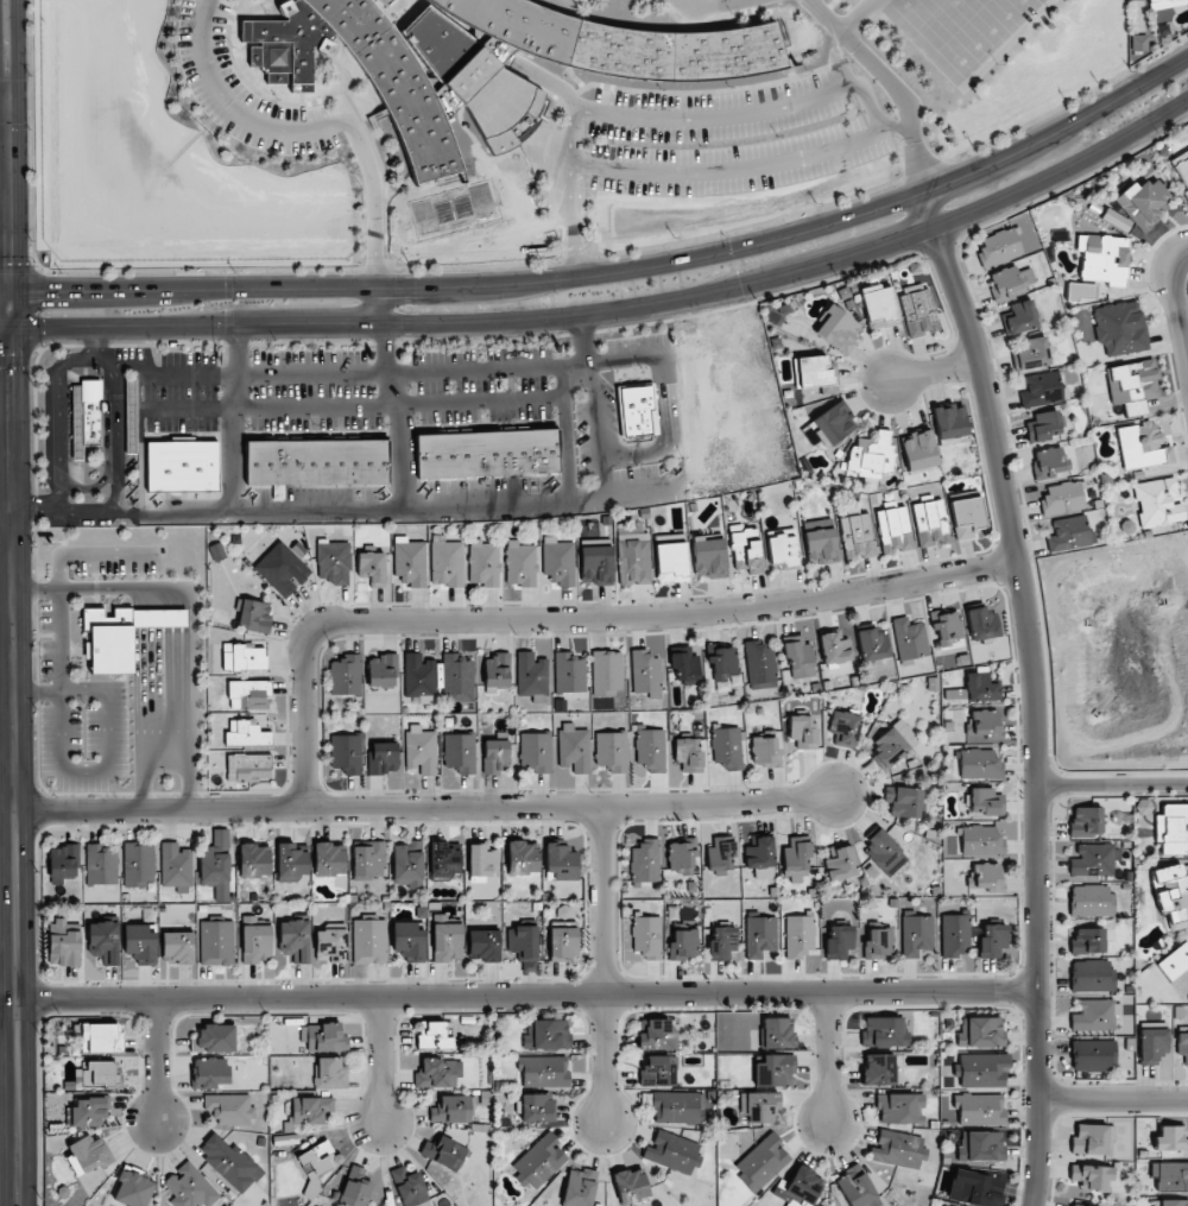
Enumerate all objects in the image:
building: (1151, 0)
building: (1170, 0)
building: (388, 2)
road: (712, 5)
parking lot: (811, 5)
parking lot: (712, 6)
road: (858, 15)
road: (927, 15)
park: (961, 24)
parking lot: (963, 30)
building: (1162, 30)
road: (973, 31)
building: (1137, 42)
road: (835, 58)
building: (491, 64)
road: (887, 81)
road: (965, 84)
parking lot: (244, 90)
road: (4, 99)
road: (1069, 101)
road: (234, 108)
road: (742, 111)
road: (899, 127)
parking lot: (735, 134)
road: (8, 144)
road: (573, 156)
road: (924, 169)
building: (1181, 169)
road: (733, 170)
road: (374, 201)
building: (1144, 202)
building: (1116, 220)
road: (747, 226)
road: (1184, 246)
building: (998, 247)
road: (575, 258)
building: (1102, 259)
road: (24, 264)
road: (474, 265)
road: (375, 266)
road: (620, 267)
road: (67, 270)
building: (1010, 280)
road: (5, 289)
traffic signals: (11, 289)
road: (550, 289)
building: (1080, 291)
road: (407, 295)
road: (39, 297)
road: (378, 304)
building: (878, 307)
road: (1175, 307)
road: (614, 309)
building: (917, 310)
building: (1018, 317)
building: (1119, 327)
traffic signals: (10, 329)
building: (838, 329)
building: (1031, 352)
road: (385, 364)
road: (931, 371)
building: (814, 372)
road: (323, 373)
building: (1133, 385)
building: (1041, 389)
road: (479, 400)
building: (131, 406)
road: (267, 408)
building: (638, 411)
road: (55, 415)
building: (86, 417)
road: (232, 417)
building: (950, 424)
building: (1043, 424)
building: (830, 425)
road: (114, 435)
building: (1142, 447)
building: (918, 450)
building: (487, 454)
building: (872, 455)
road: (399, 456)
building: (316, 462)
building: (1048, 462)
building: (182, 466)
building: (1062, 498)
road: (6, 503)
building: (1158, 503)
road: (384, 509)
building: (966, 517)
building: (930, 523)
building: (893, 530)
building: (1067, 533)
building: (857, 536)
building: (820, 541)
building: (782, 547)
building: (746, 549)
building: (215, 553)
building: (708, 556)
building: (670, 557)
building: (334, 561)
building: (410, 561)
building: (558, 561)
building: (633, 561)
building: (447, 563)
building: (484, 563)
building: (520, 564)
building: (596, 564)
building: (371, 568)
building: (282, 569)
building: (254, 615)
road: (574, 621)
building: (981, 624)
building: (946, 627)
road: (7, 631)
building: (121, 634)
building: (909, 638)
building: (873, 644)
building: (834, 648)
building: (242, 657)
building: (798, 657)
building: (684, 664)
building: (722, 664)
building: (759, 665)
building: (383, 671)
building: (645, 671)
building: (495, 673)
building: (568, 673)
building: (607, 673)
building: (346, 675)
building: (531, 675)
building: (419, 678)
building: (457, 678)
building: (981, 688)
road: (1029, 690)
building: (248, 694)
building: (984, 726)
building: (843, 728)
building: (803, 731)
building: (246, 734)
road: (14, 746)
building: (727, 747)
building: (574, 749)
building: (889, 749)
building: (421, 750)
building: (612, 750)
building: (650, 751)
building: (764, 751)
building: (460, 752)
building: (536, 752)
building: (347, 753)
building: (689, 753)
building: (494, 754)
building: (383, 758)
building: (979, 764)
building: (248, 766)
road: (1110, 784)
building: (903, 801)
building: (985, 802)
road: (424, 810)
building: (1086, 821)
building: (1173, 828)
building: (981, 840)
building: (884, 851)
building: (681, 854)
building: (721, 855)
building: (760, 857)
building: (523, 858)
building: (329, 859)
building: (368, 859)
building: (481, 859)
building: (1094, 859)
building: (253, 860)
building: (291, 860)
building: (561, 860)
building: (63, 861)
building: (443, 861)
building: (645, 861)
building: (840, 861)
building: (101, 864)
building: (407, 864)
building: (138, 865)
building: (216, 865)
building: (176, 867)
building: (986, 876)
building: (1171, 895)
building: (1091, 901)
building: (759, 935)
building: (916, 935)
building: (954, 935)
building: (646, 936)
building: (800, 936)
building: (257, 939)
building: (447, 939)
building: (295, 940)
building: (409, 940)
building: (992, 940)
building: (103, 941)
building: (368, 941)
building: (523, 941)
building: (1087, 941)
building: (140, 942)
building: (216, 942)
building: (721, 942)
building: (839, 942)
building: (63, 943)
building: (563, 943)
building: (683, 943)
building: (879, 943)
building: (330, 945)
building: (484, 945)
building: (177, 946)
building: (1174, 961)
road: (601, 966)
building: (1092, 975)
road: (518, 995)
building: (884, 1031)
building: (980, 1031)
building: (777, 1033)
building: (435, 1035)
building: (546, 1035)
building: (656, 1035)
building: (101, 1037)
building: (323, 1037)
building: (214, 1038)
building: (1182, 1046)
building: (1093, 1055)
road: (829, 1057)
road: (157, 1059)
road: (381, 1059)
building: (773, 1069)
building: (879, 1069)
building: (982, 1069)
building: (658, 1071)
building: (209, 1072)
building: (543, 1072)
building: (99, 1073)
building: (437, 1073)
building: (329, 1074)
road: (1112, 1099)
building: (760, 1106)
building: (537, 1107)
building: (676, 1107)
building: (899, 1107)
building: (230, 1109)
building: (979, 1109)
building: (310, 1110)
building: (451, 1110)
building: (89, 1111)
building: (1092, 1138)
building: (1171, 1138)
building: (980, 1147)
building: (898, 1149)
building: (444, 1153)
building: (672, 1153)
building: (89, 1154)
building: (228, 1162)
building: (538, 1162)
building: (762, 1162)
building: (316, 1166)
building: (1170, 1175)
building: (1091, 1176)
building: (804, 1185)
building: (631, 1186)
building: (132, 1187)
building: (189, 1187)
building: (355, 1187)
building: (409, 1187)
building: (579, 1187)
building: (857, 1188)
building: (975, 1188)
building: (1173, 1202)
building: (946, 1205)
building: (1076, 1205)

